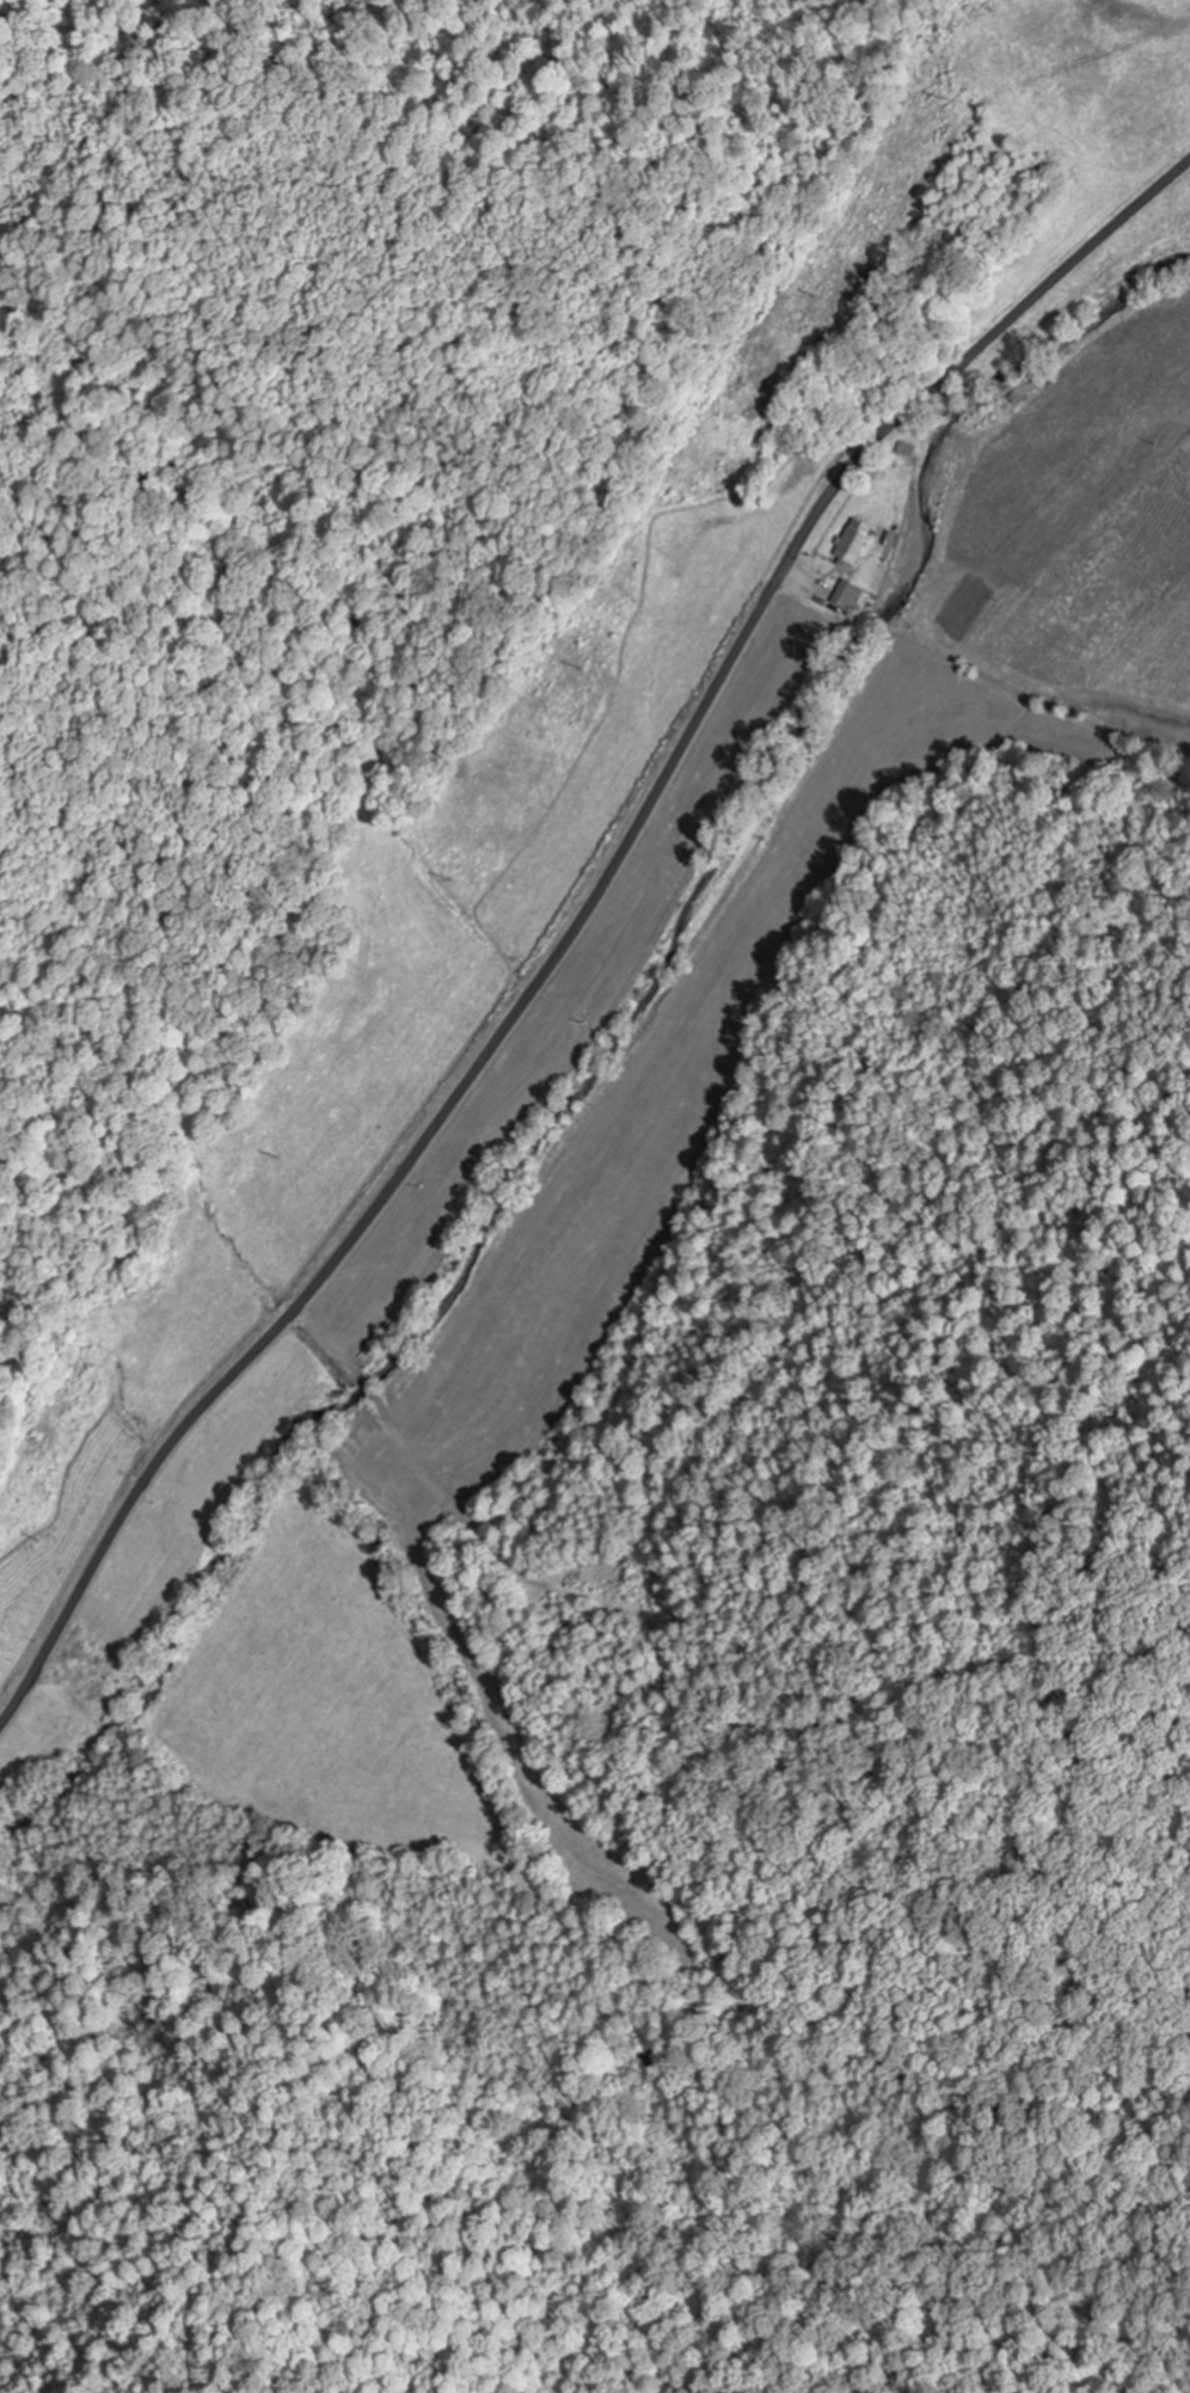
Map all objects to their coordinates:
building: (848, 547)
road: (578, 920)
building: (97, 1683)

